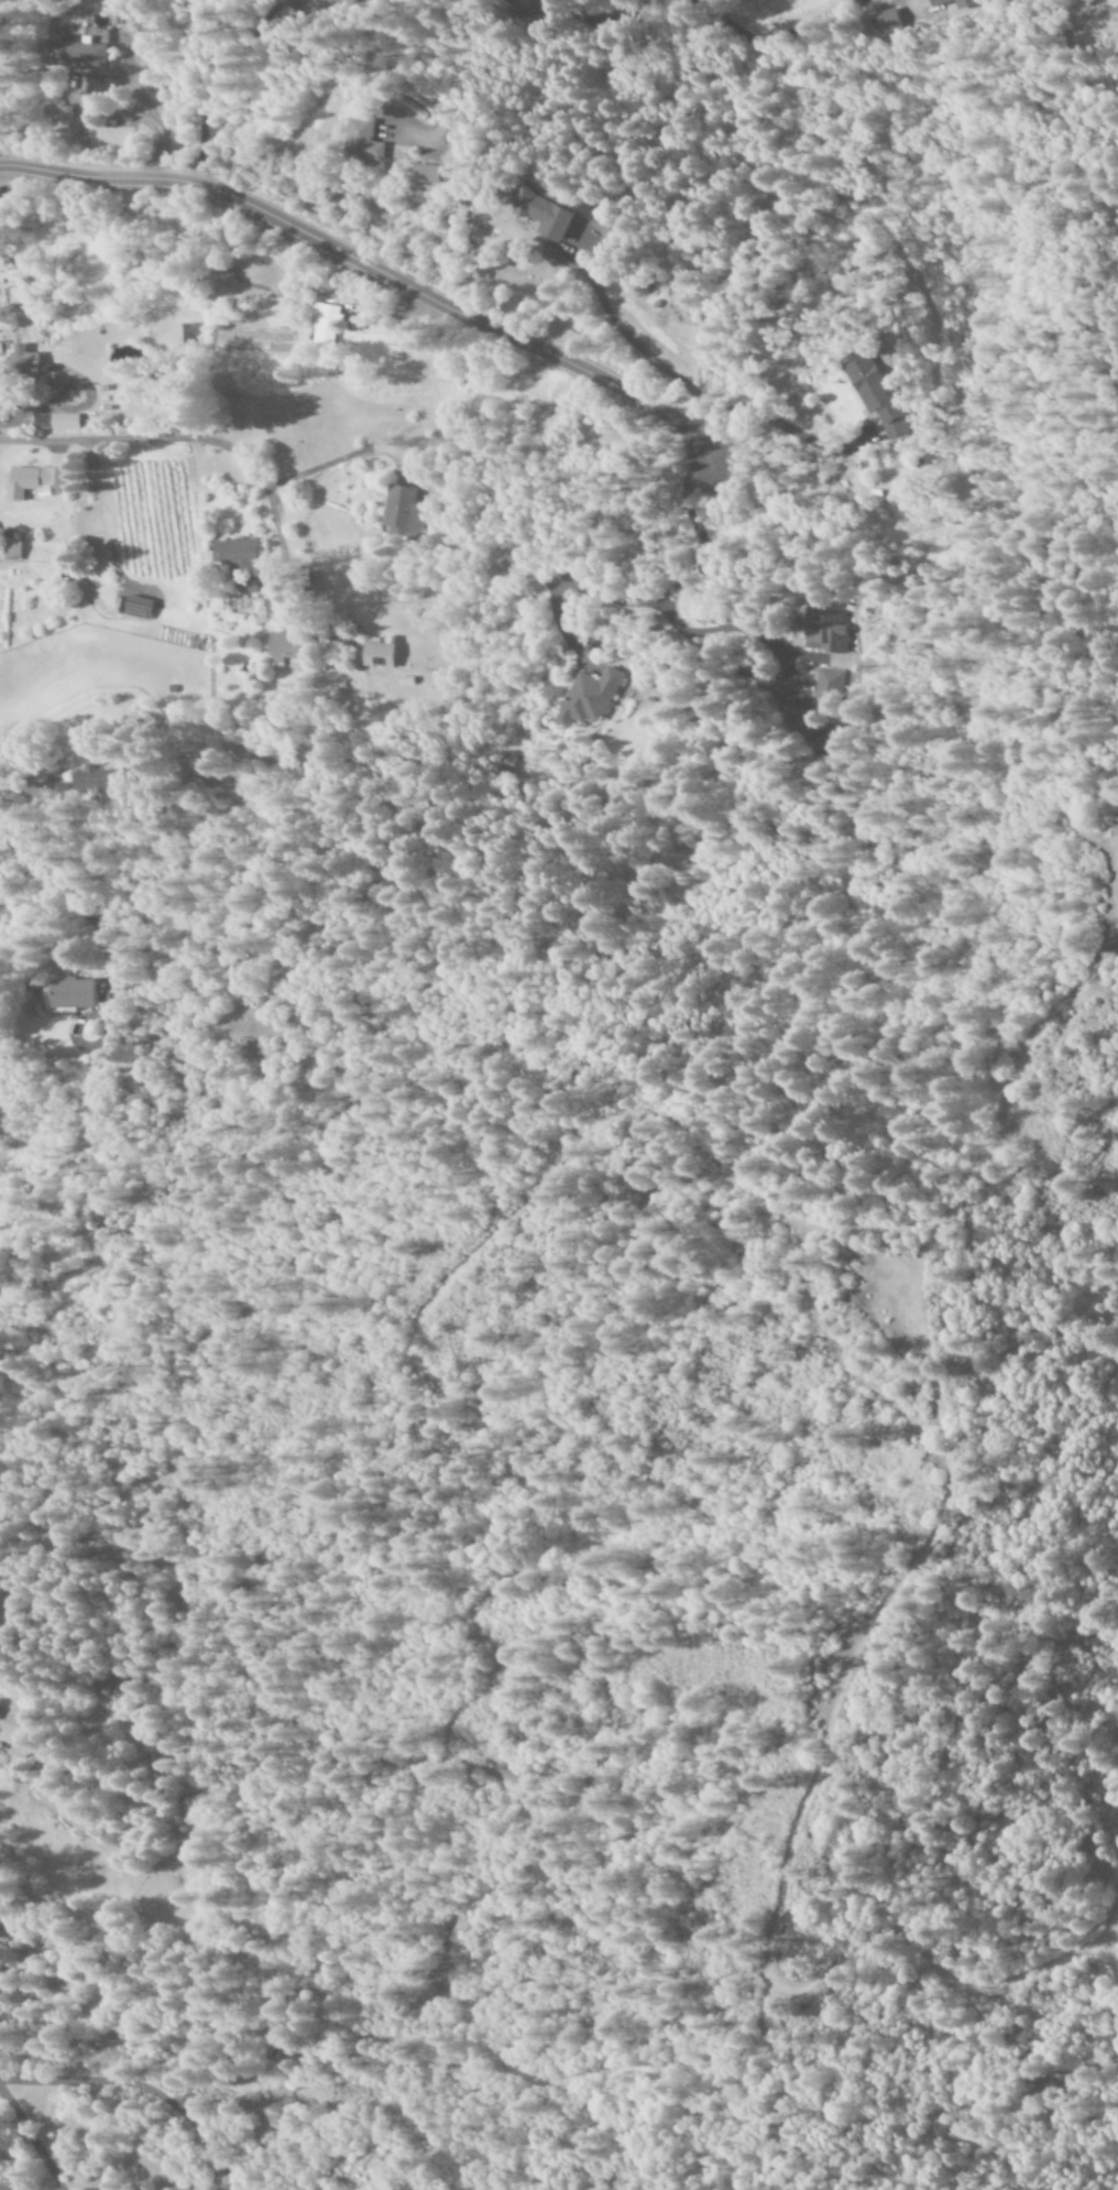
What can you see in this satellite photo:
building: (349, 0)
building: (311, 3)
building: (960, 3)
road: (911, 4)
building: (885, 22)
building: (81, 52)
building: (353, 135)
building: (420, 173)
building: (538, 214)
road: (371, 272)
building: (17, 296)
building: (325, 325)
building: (20, 361)
building: (875, 395)
building: (55, 422)
building: (30, 480)
building: (402, 511)
building: (10, 548)
building: (232, 553)
building: (825, 628)
building: (286, 645)
building: (379, 653)
building: (587, 697)
building: (79, 782)
building: (72, 993)
building: (14, 1725)
road: (144, 2089)

